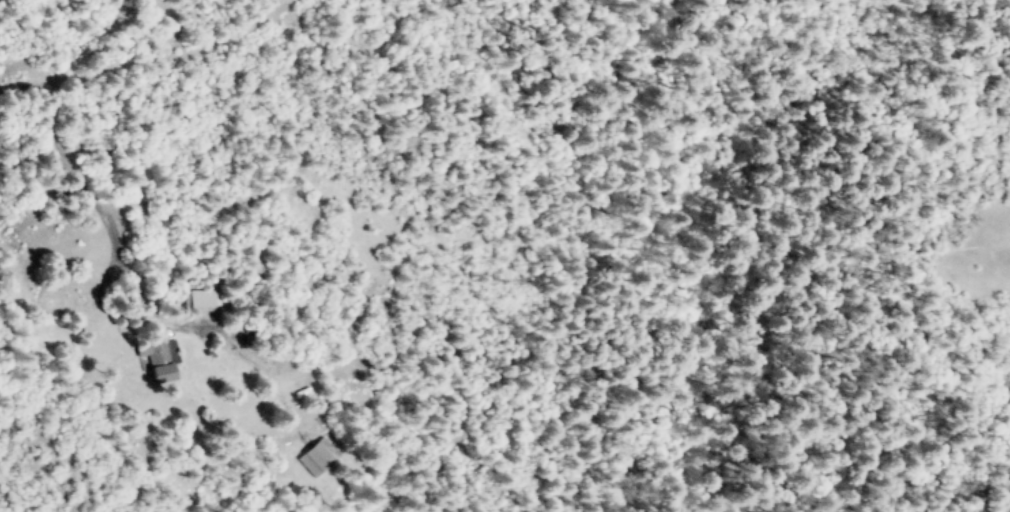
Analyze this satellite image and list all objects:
building: (158, 352)
building: (314, 456)

